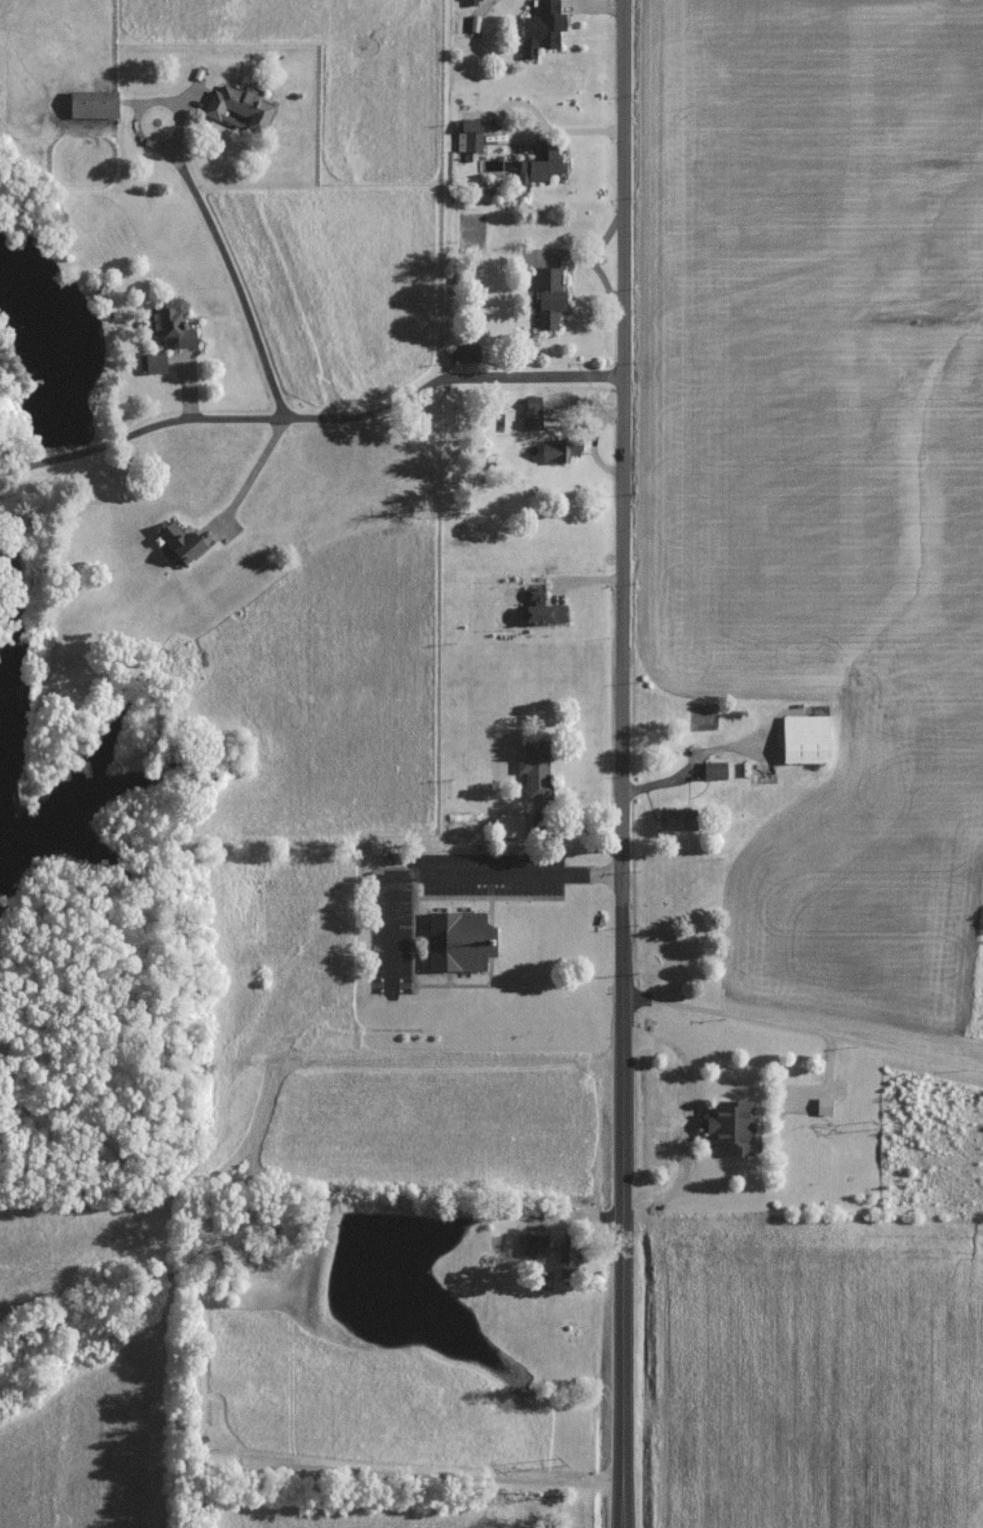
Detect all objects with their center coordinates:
road: (599, 6)
building: (541, 28)
road: (150, 100)
building: (91, 104)
building: (238, 107)
road: (569, 129)
building: (469, 137)
building: (540, 165)
building: (547, 296)
building: (173, 322)
building: (465, 352)
building: (153, 362)
building: (532, 412)
road: (310, 415)
road: (140, 428)
building: (559, 450)
road: (251, 471)
building: (179, 541)
building: (541, 608)
building: (805, 738)
road: (619, 764)
building: (534, 769)
building: (713, 769)
road: (671, 782)
building: (673, 819)
building: (510, 825)
road: (449, 877)
building: (457, 940)
road: (801, 1028)
building: (823, 1106)
road: (678, 1116)
building: (731, 1127)
building: (535, 1244)
building: (565, 1262)

